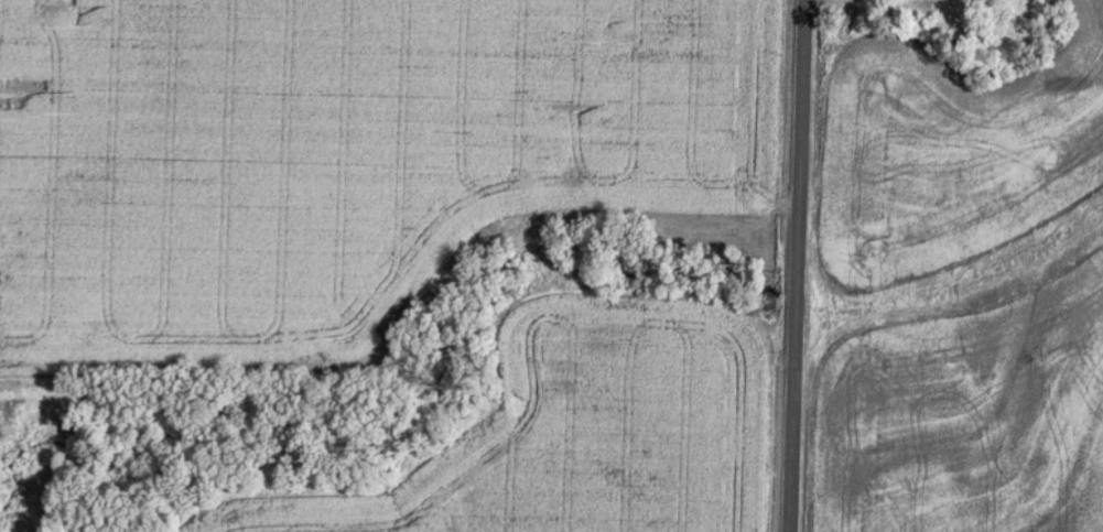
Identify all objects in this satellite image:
building: (976, 25)
road: (798, 265)

